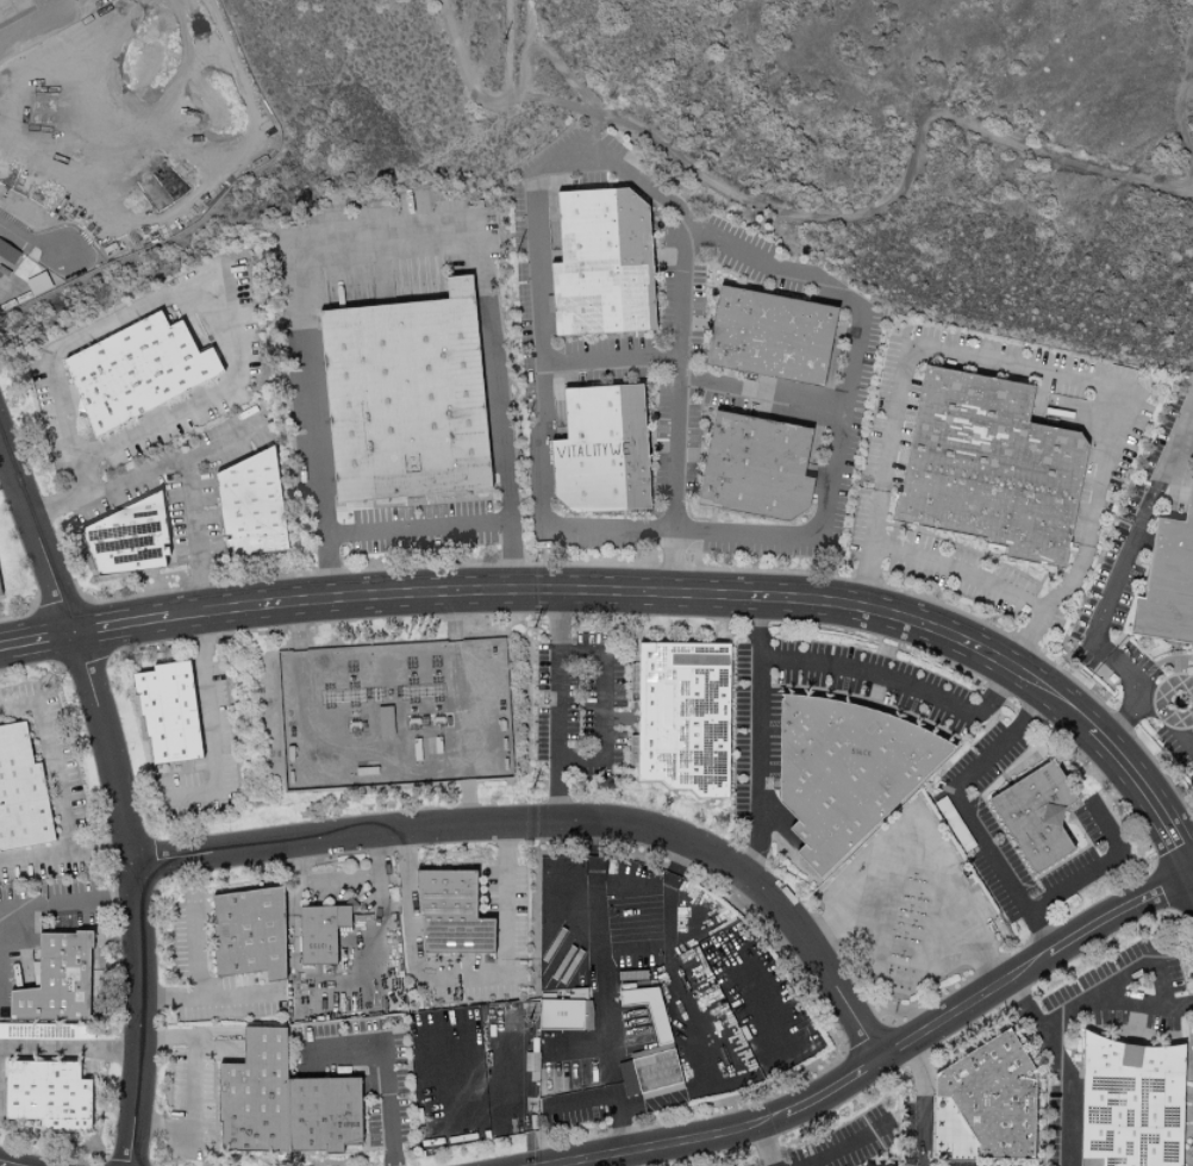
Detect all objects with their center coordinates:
road: (37, 21)
power tower: (501, 35)
road: (1185, 95)
road: (538, 179)
road: (804, 213)
power tower: (514, 220)
road: (26, 251)
road: (392, 251)
building: (606, 262)
road: (164, 294)
road: (681, 295)
building: (773, 336)
road: (611, 363)
building: (139, 373)
road: (1093, 387)
building: (407, 394)
road: (783, 401)
power tower: (524, 426)
road: (1187, 442)
building: (605, 450)
building: (993, 466)
building: (758, 468)
road: (133, 482)
road: (188, 497)
building: (255, 507)
road: (418, 529)
building: (130, 540)
building: (1169, 584)
road: (1112, 588)
building: (1, 590)
road: (643, 592)
road: (120, 625)
power tower: (535, 630)
road: (1018, 637)
road: (36, 641)
road: (567, 655)
building: (630, 681)
road: (897, 681)
building: (164, 710)
power substation: (393, 711)
building: (680, 715)
road: (211, 727)
road: (1166, 730)
road: (752, 738)
road: (50, 761)
building: (841, 769)
building: (20, 791)
power tower: (532, 792)
road: (118, 793)
road: (1148, 793)
road: (967, 812)
building: (1032, 813)
road: (557, 822)
road: (64, 853)
road: (924, 863)
road: (1099, 865)
road: (67, 905)
building: (446, 912)
road: (699, 925)
building: (244, 931)
building: (317, 931)
road: (366, 940)
road: (194, 949)
building: (52, 979)
road: (461, 991)
road: (207, 997)
road: (1101, 997)
road: (1125, 1005)
building: (647, 1008)
building: (562, 1014)
power tower: (531, 1023)
road: (70, 1049)
road: (885, 1055)
road: (202, 1061)
building: (530, 1061)
road: (387, 1064)
building: (647, 1070)
building: (45, 1093)
building: (987, 1095)
road: (605, 1097)
road: (1067, 1097)
building: (279, 1100)
building: (1128, 1102)
road: (922, 1103)
road: (167, 1123)
road: (758, 1145)
road: (844, 1146)
building: (858, 1165)

